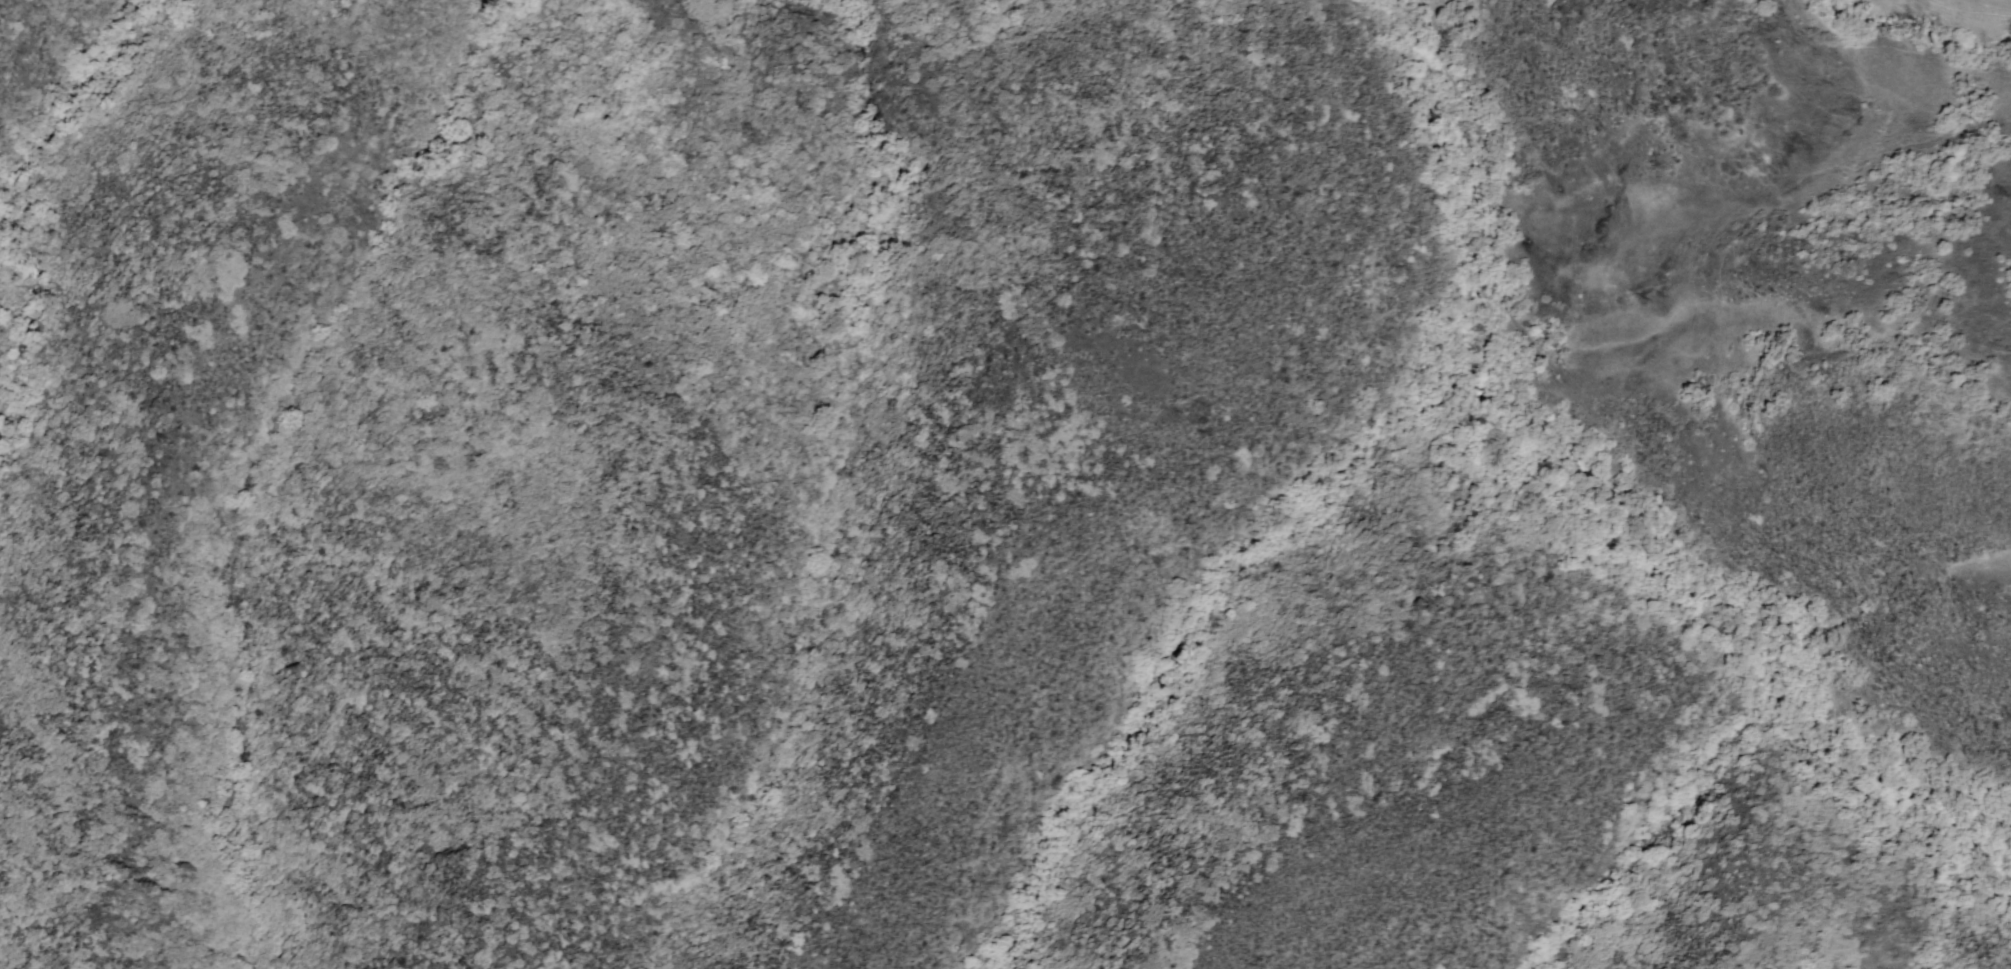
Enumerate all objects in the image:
road: (1640, 474)

